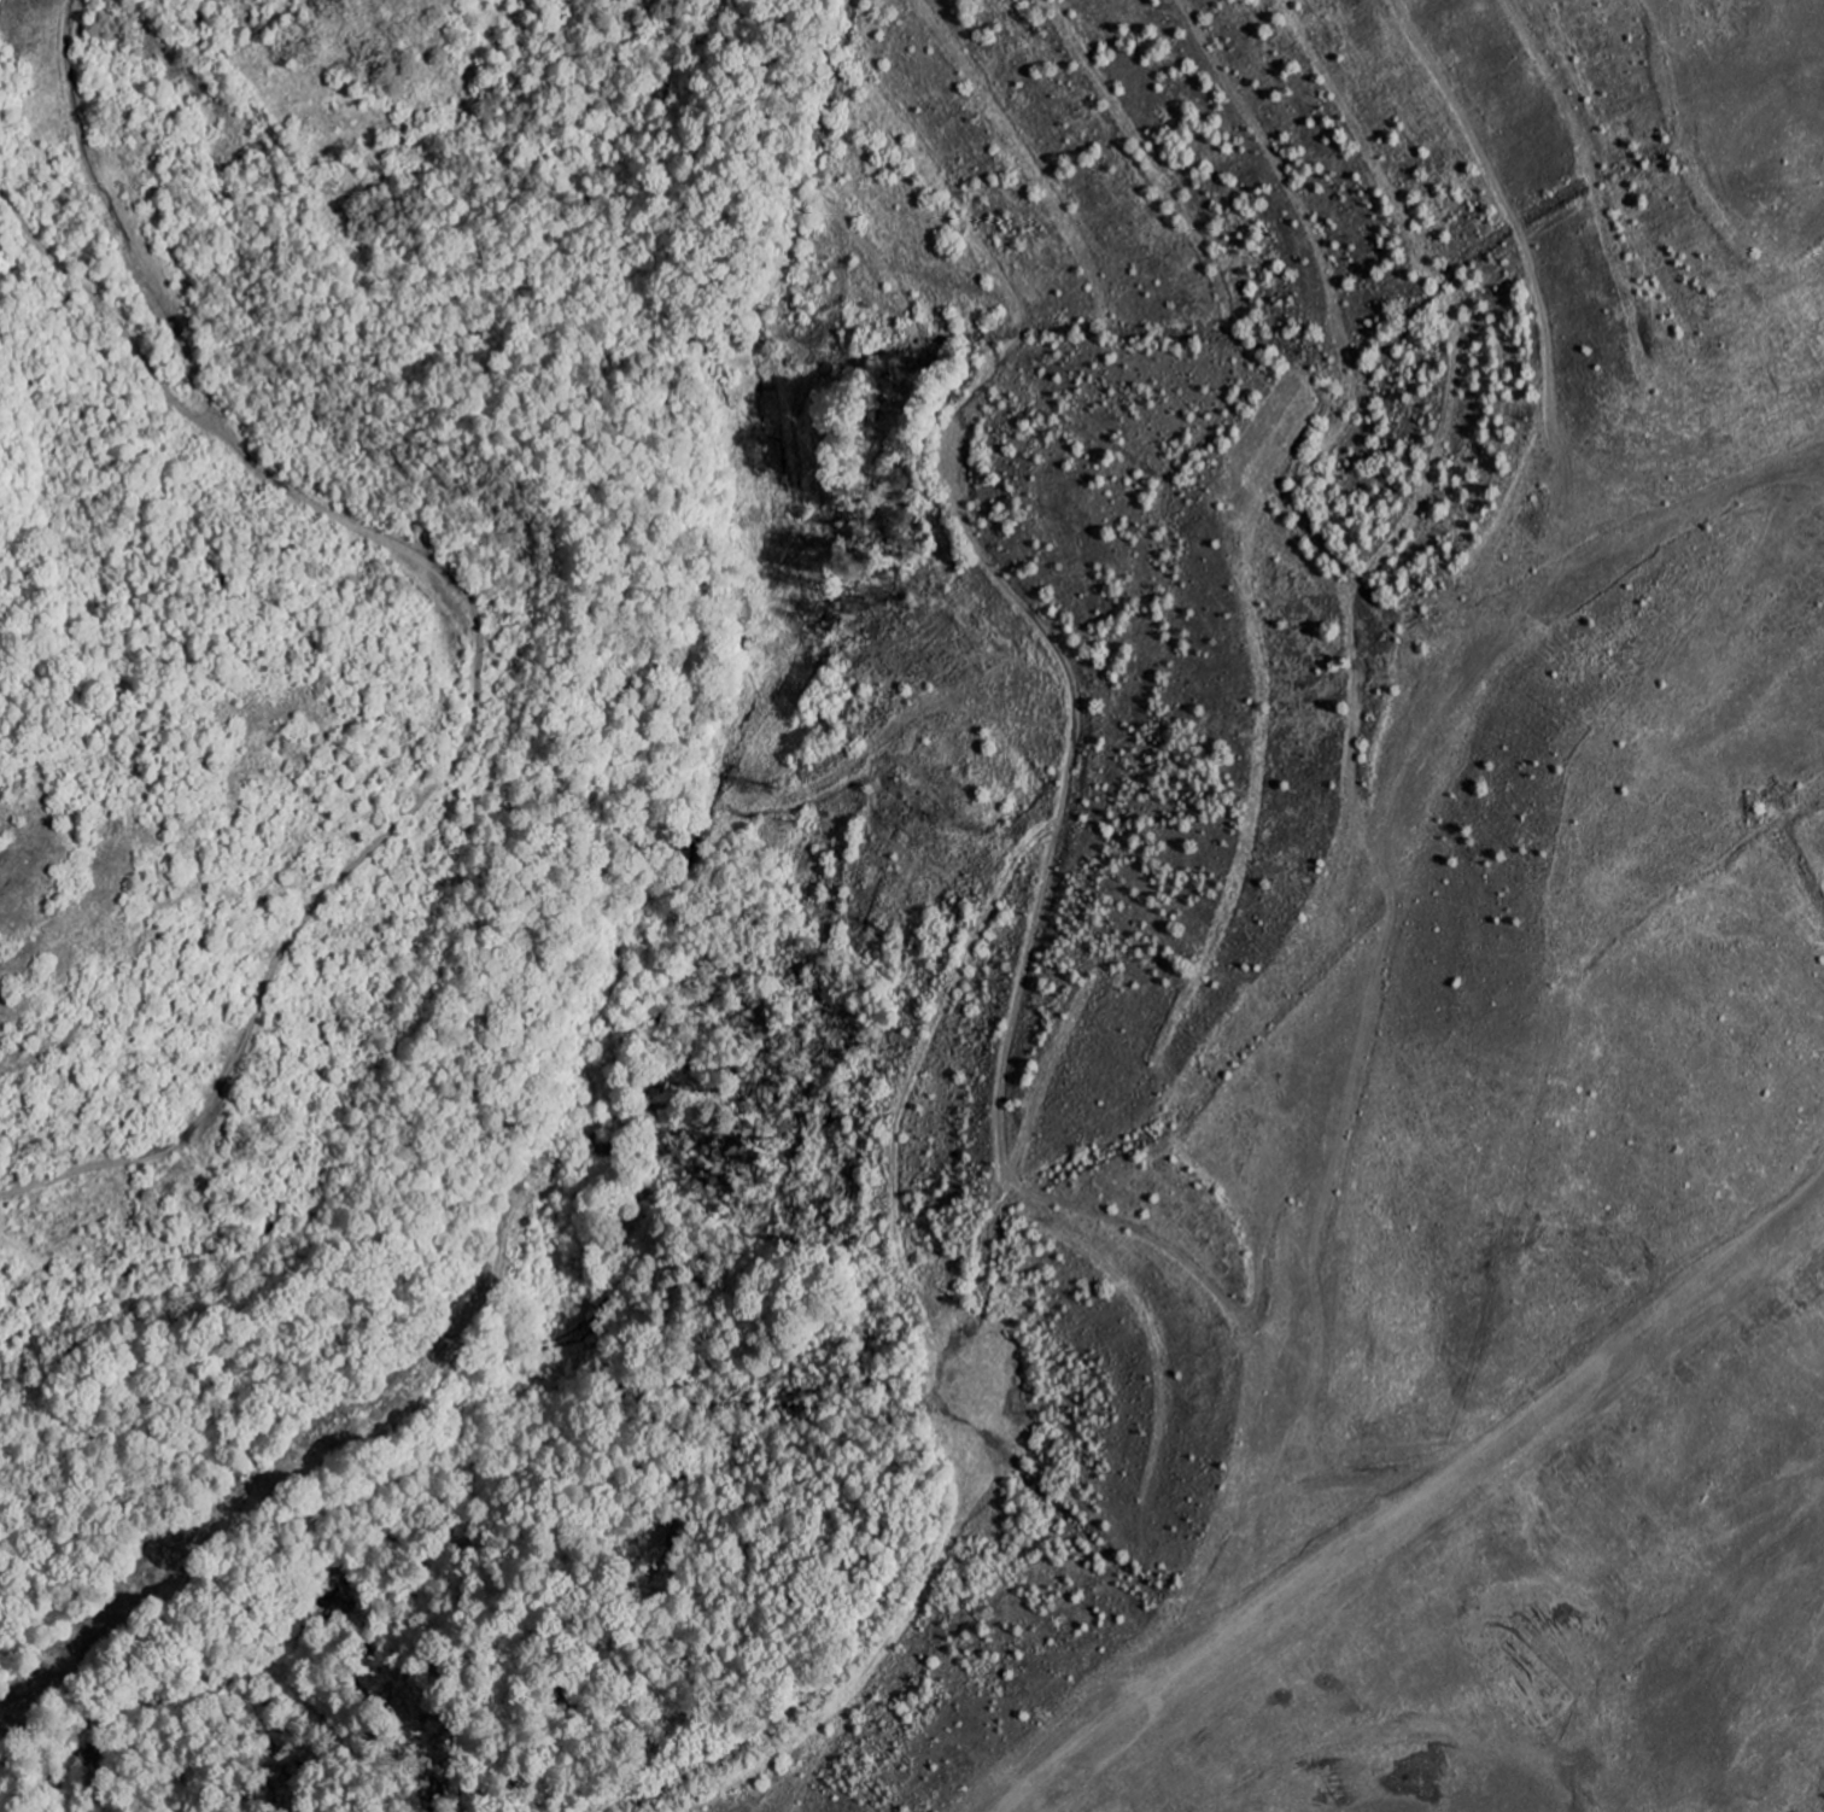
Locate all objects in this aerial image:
quarry: (1181, 910)
road: (36, 1654)

